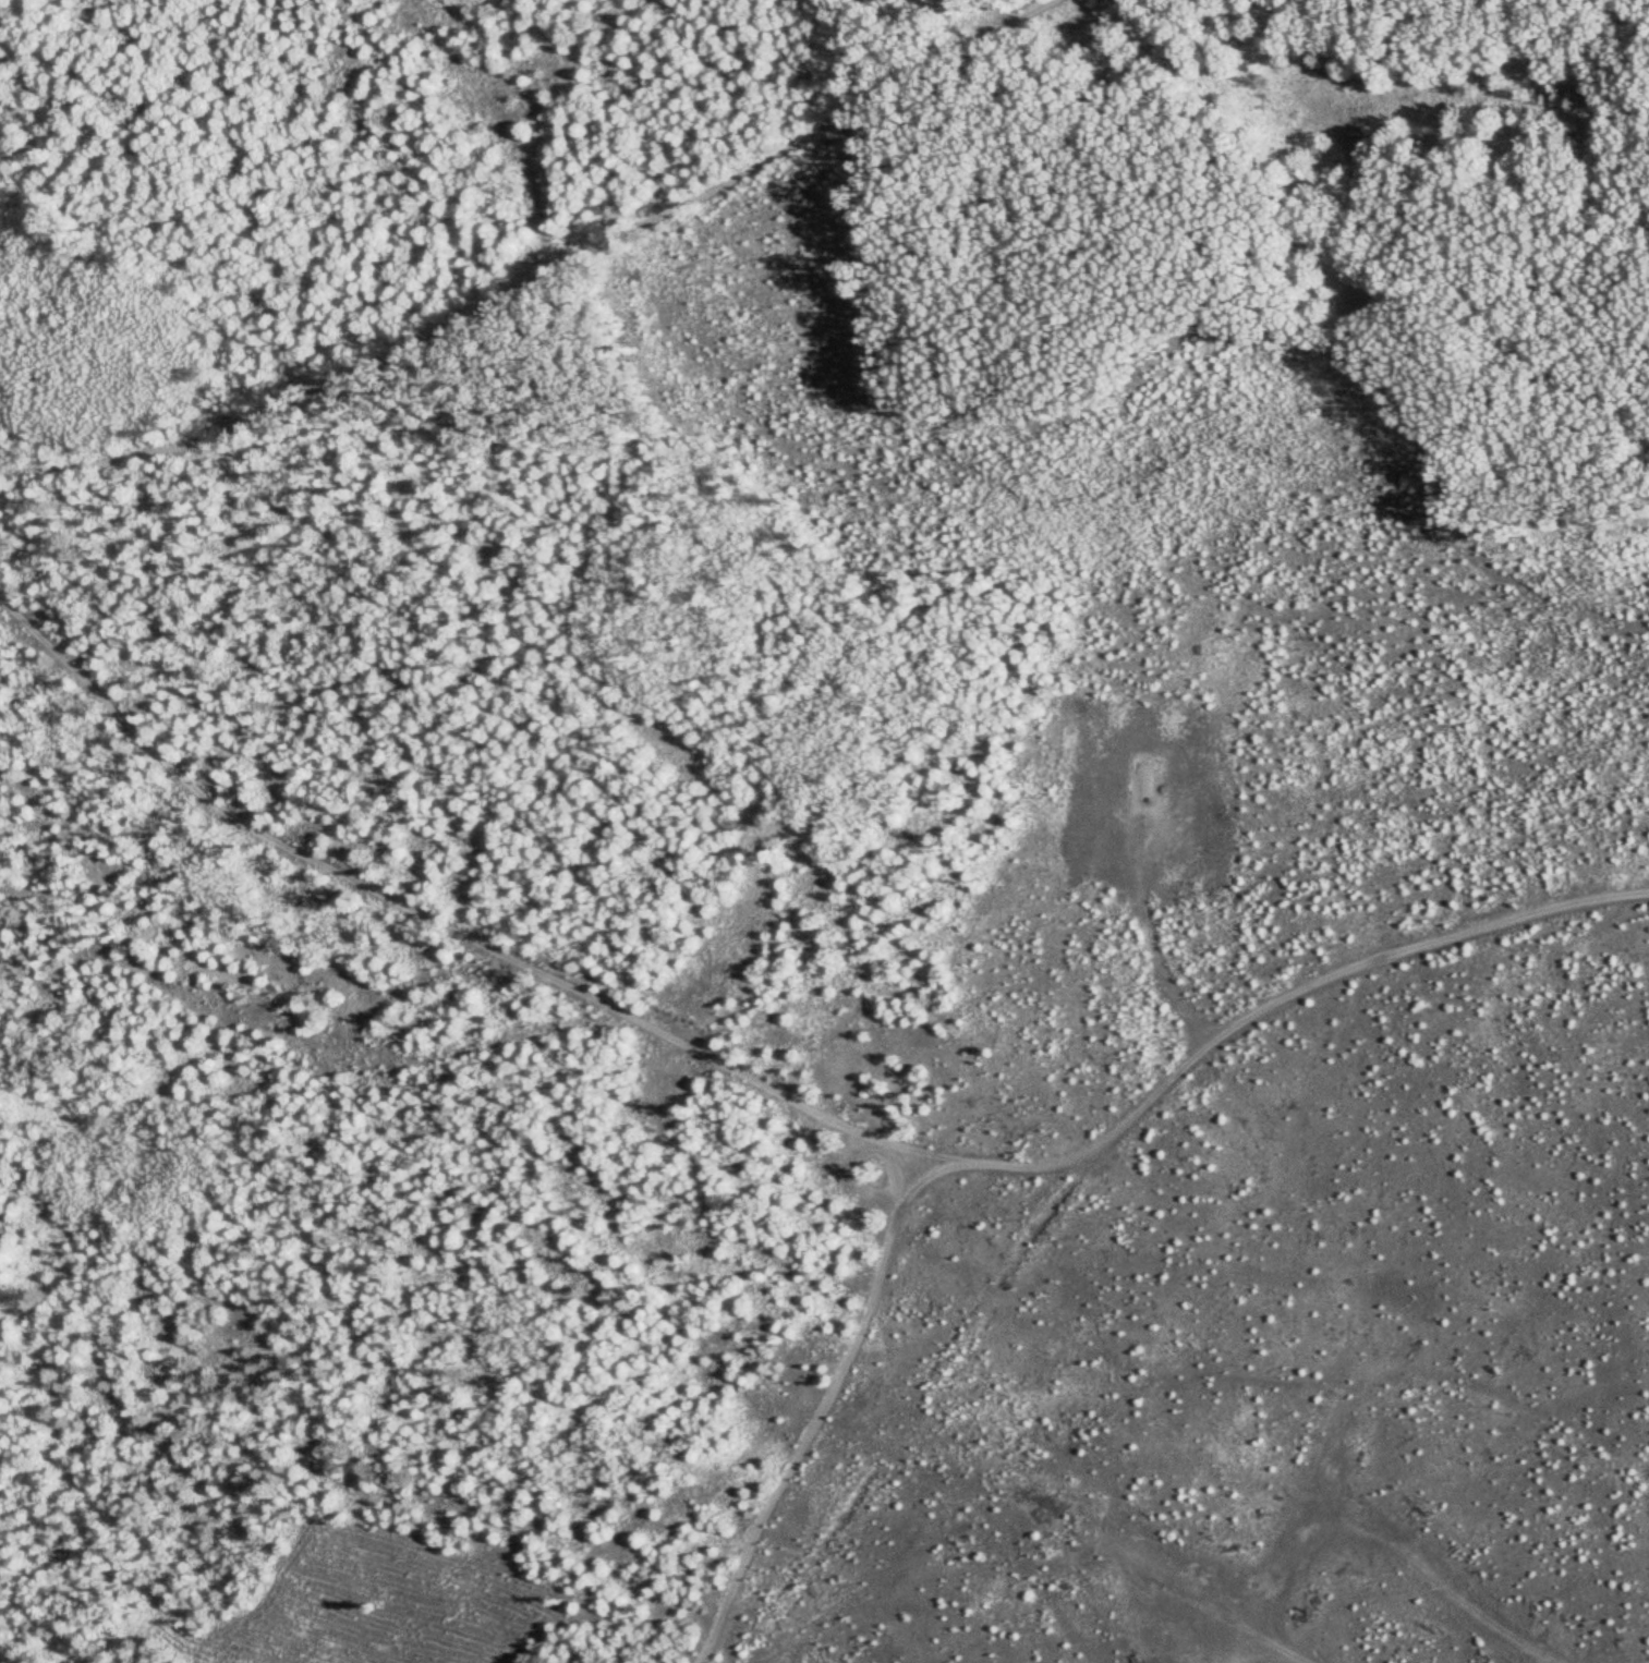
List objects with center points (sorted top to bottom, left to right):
road: (548, 277)
petroleum well: (1132, 785)
road: (791, 1100)
road: (820, 1415)

